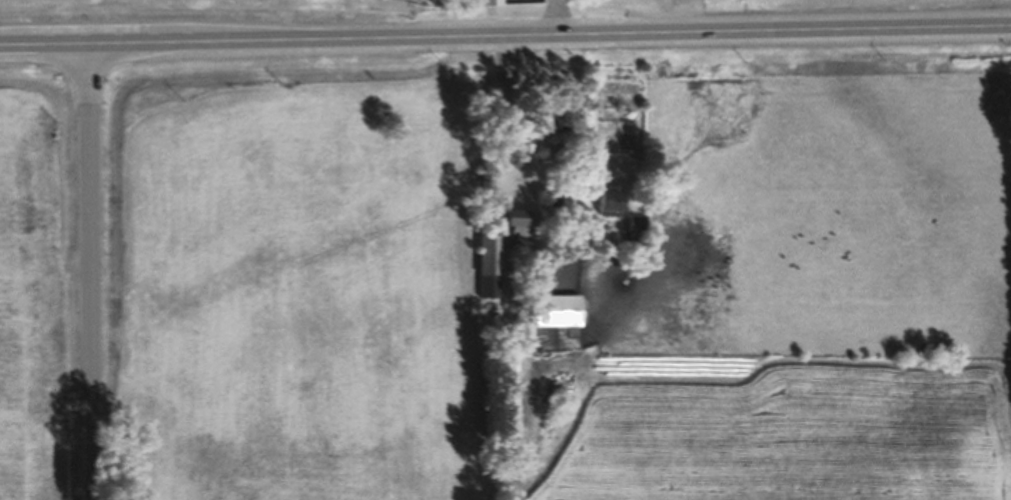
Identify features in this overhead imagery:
crop: (755, 0)
building: (485, 6)
crop: (204, 10)
road: (557, 21)
road: (505, 43)
road: (498, 101)
building: (479, 186)
building: (610, 210)
building: (520, 240)
building: (485, 273)
road: (90, 275)
building: (556, 319)

